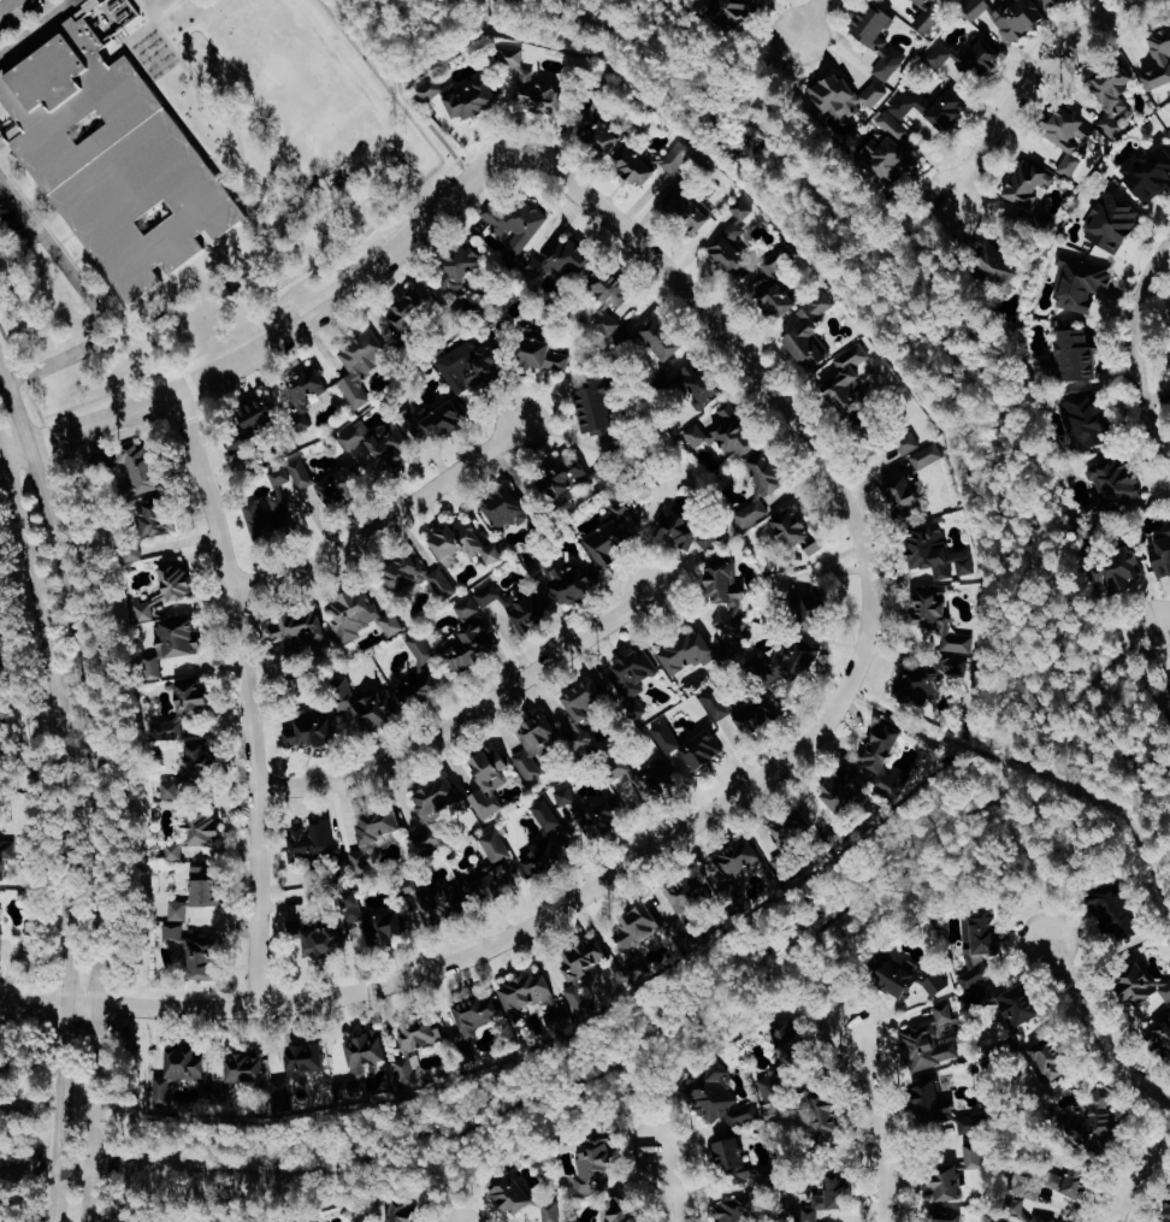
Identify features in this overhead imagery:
road: (4, 2)
road: (545, 4)
building: (1059, 4)
road: (84, 7)
building: (733, 10)
parking lot: (18, 14)
building: (932, 14)
road: (809, 17)
road: (35, 28)
building: (881, 37)
road: (129, 41)
building: (941, 55)
building: (1159, 61)
road: (776, 78)
road: (1034, 81)
building: (537, 85)
building: (431, 89)
building: (472, 95)
building: (846, 95)
building: (1116, 96)
road: (407, 99)
road: (166, 105)
building: (923, 108)
road: (8, 114)
road: (410, 128)
building: (1071, 128)
road: (10, 130)
road: (188, 131)
building: (601, 135)
road: (236, 136)
road: (191, 140)
building: (112, 152)
building: (891, 155)
building: (650, 164)
building: (1071, 164)
building: (1152, 172)
building: (1030, 188)
road: (234, 195)
road: (39, 200)
building: (692, 209)
building: (1115, 222)
building: (519, 223)
road: (926, 223)
road: (65, 236)
building: (737, 241)
road: (202, 242)
road: (81, 255)
building: (572, 256)
building: (999, 261)
road: (190, 262)
building: (528, 264)
road: (166, 270)
building: (461, 272)
building: (1083, 283)
road: (90, 284)
building: (775, 288)
road: (107, 290)
road: (87, 294)
building: (613, 300)
building: (412, 311)
road: (261, 313)
building: (811, 332)
building: (660, 333)
road: (1136, 349)
building: (546, 353)
building: (1076, 355)
road: (231, 362)
building: (366, 362)
building: (473, 367)
road: (754, 373)
road: (188, 380)
building: (852, 382)
building: (703, 384)
building: (308, 391)
building: (598, 413)
building: (265, 414)
building: (1086, 417)
building: (441, 421)
building: (727, 431)
building: (240, 444)
building: (383, 444)
building: (921, 451)
building: (136, 468)
building: (302, 473)
building: (279, 476)
building: (575, 478)
building: (1121, 482)
building: (763, 486)
building: (903, 492)
building: (508, 507)
building: (279, 516)
building: (158, 518)
road: (384, 523)
building: (1169, 525)
building: (689, 526)
building: (798, 530)
building: (613, 533)
building: (465, 544)
building: (135, 551)
building: (936, 551)
building: (1163, 556)
building: (425, 575)
building: (1122, 577)
building: (569, 579)
building: (489, 591)
building: (727, 597)
building: (469, 606)
building: (530, 610)
building: (816, 610)
building: (171, 616)
building: (361, 616)
building: (944, 624)
road: (1165, 625)
building: (300, 636)
building: (469, 648)
building: (689, 653)
road: (1118, 654)
building: (791, 663)
building: (421, 667)
building: (636, 679)
building: (1169, 681)
building: (928, 683)
road: (247, 695)
building: (371, 706)
building: (747, 709)
road: (1095, 709)
building: (585, 714)
road: (465, 716)
road: (923, 728)
building: (309, 731)
building: (668, 737)
building: (189, 742)
building: (538, 745)
building: (882, 745)
building: (705, 750)
road: (1001, 766)
building: (621, 767)
building: (491, 780)
building: (657, 780)
road: (94, 787)
building: (846, 790)
building: (437, 810)
road: (1166, 813)
building: (578, 815)
building: (380, 825)
building: (207, 828)
road: (61, 833)
building: (314, 839)
building: (497, 845)
building: (175, 851)
building: (5, 857)
building: (365, 860)
building: (543, 860)
road: (1030, 863)
building: (739, 864)
building: (209, 886)
building: (492, 886)
building: (692, 895)
building: (445, 904)
building: (181, 909)
building: (1116, 914)
building: (373, 921)
road: (118, 925)
building: (643, 927)
building: (176, 931)
building: (982, 935)
building: (2, 938)
building: (321, 941)
building: (206, 957)
building: (584, 964)
road: (424, 972)
building: (904, 976)
building: (938, 984)
building: (1145, 990)
building: (528, 992)
building: (999, 992)
road: (821, 993)
building: (479, 1015)
road: (1094, 1034)
building: (1165, 1034)
building: (929, 1040)
building: (368, 1052)
building: (410, 1053)
building: (786, 1058)
building: (1051, 1061)
building: (249, 1069)
building: (179, 1073)
road: (638, 1102)
building: (722, 1102)
building: (950, 1110)
building: (826, 1111)
road: (875, 1126)
building: (1104, 1126)
building: (734, 1157)
road: (23, 1164)
building: (598, 1165)
building: (958, 1175)
road: (451, 1176)
road: (1140, 1177)
building: (1076, 1181)
road: (668, 1182)
building: (525, 1197)
building: (832, 1199)
building: (619, 1211)
building: (735, 1211)
building: (404, 1212)
building: (956, 1214)
building: (1048, 1218)
building: (1169, 1218)
building: (314, 1220)

